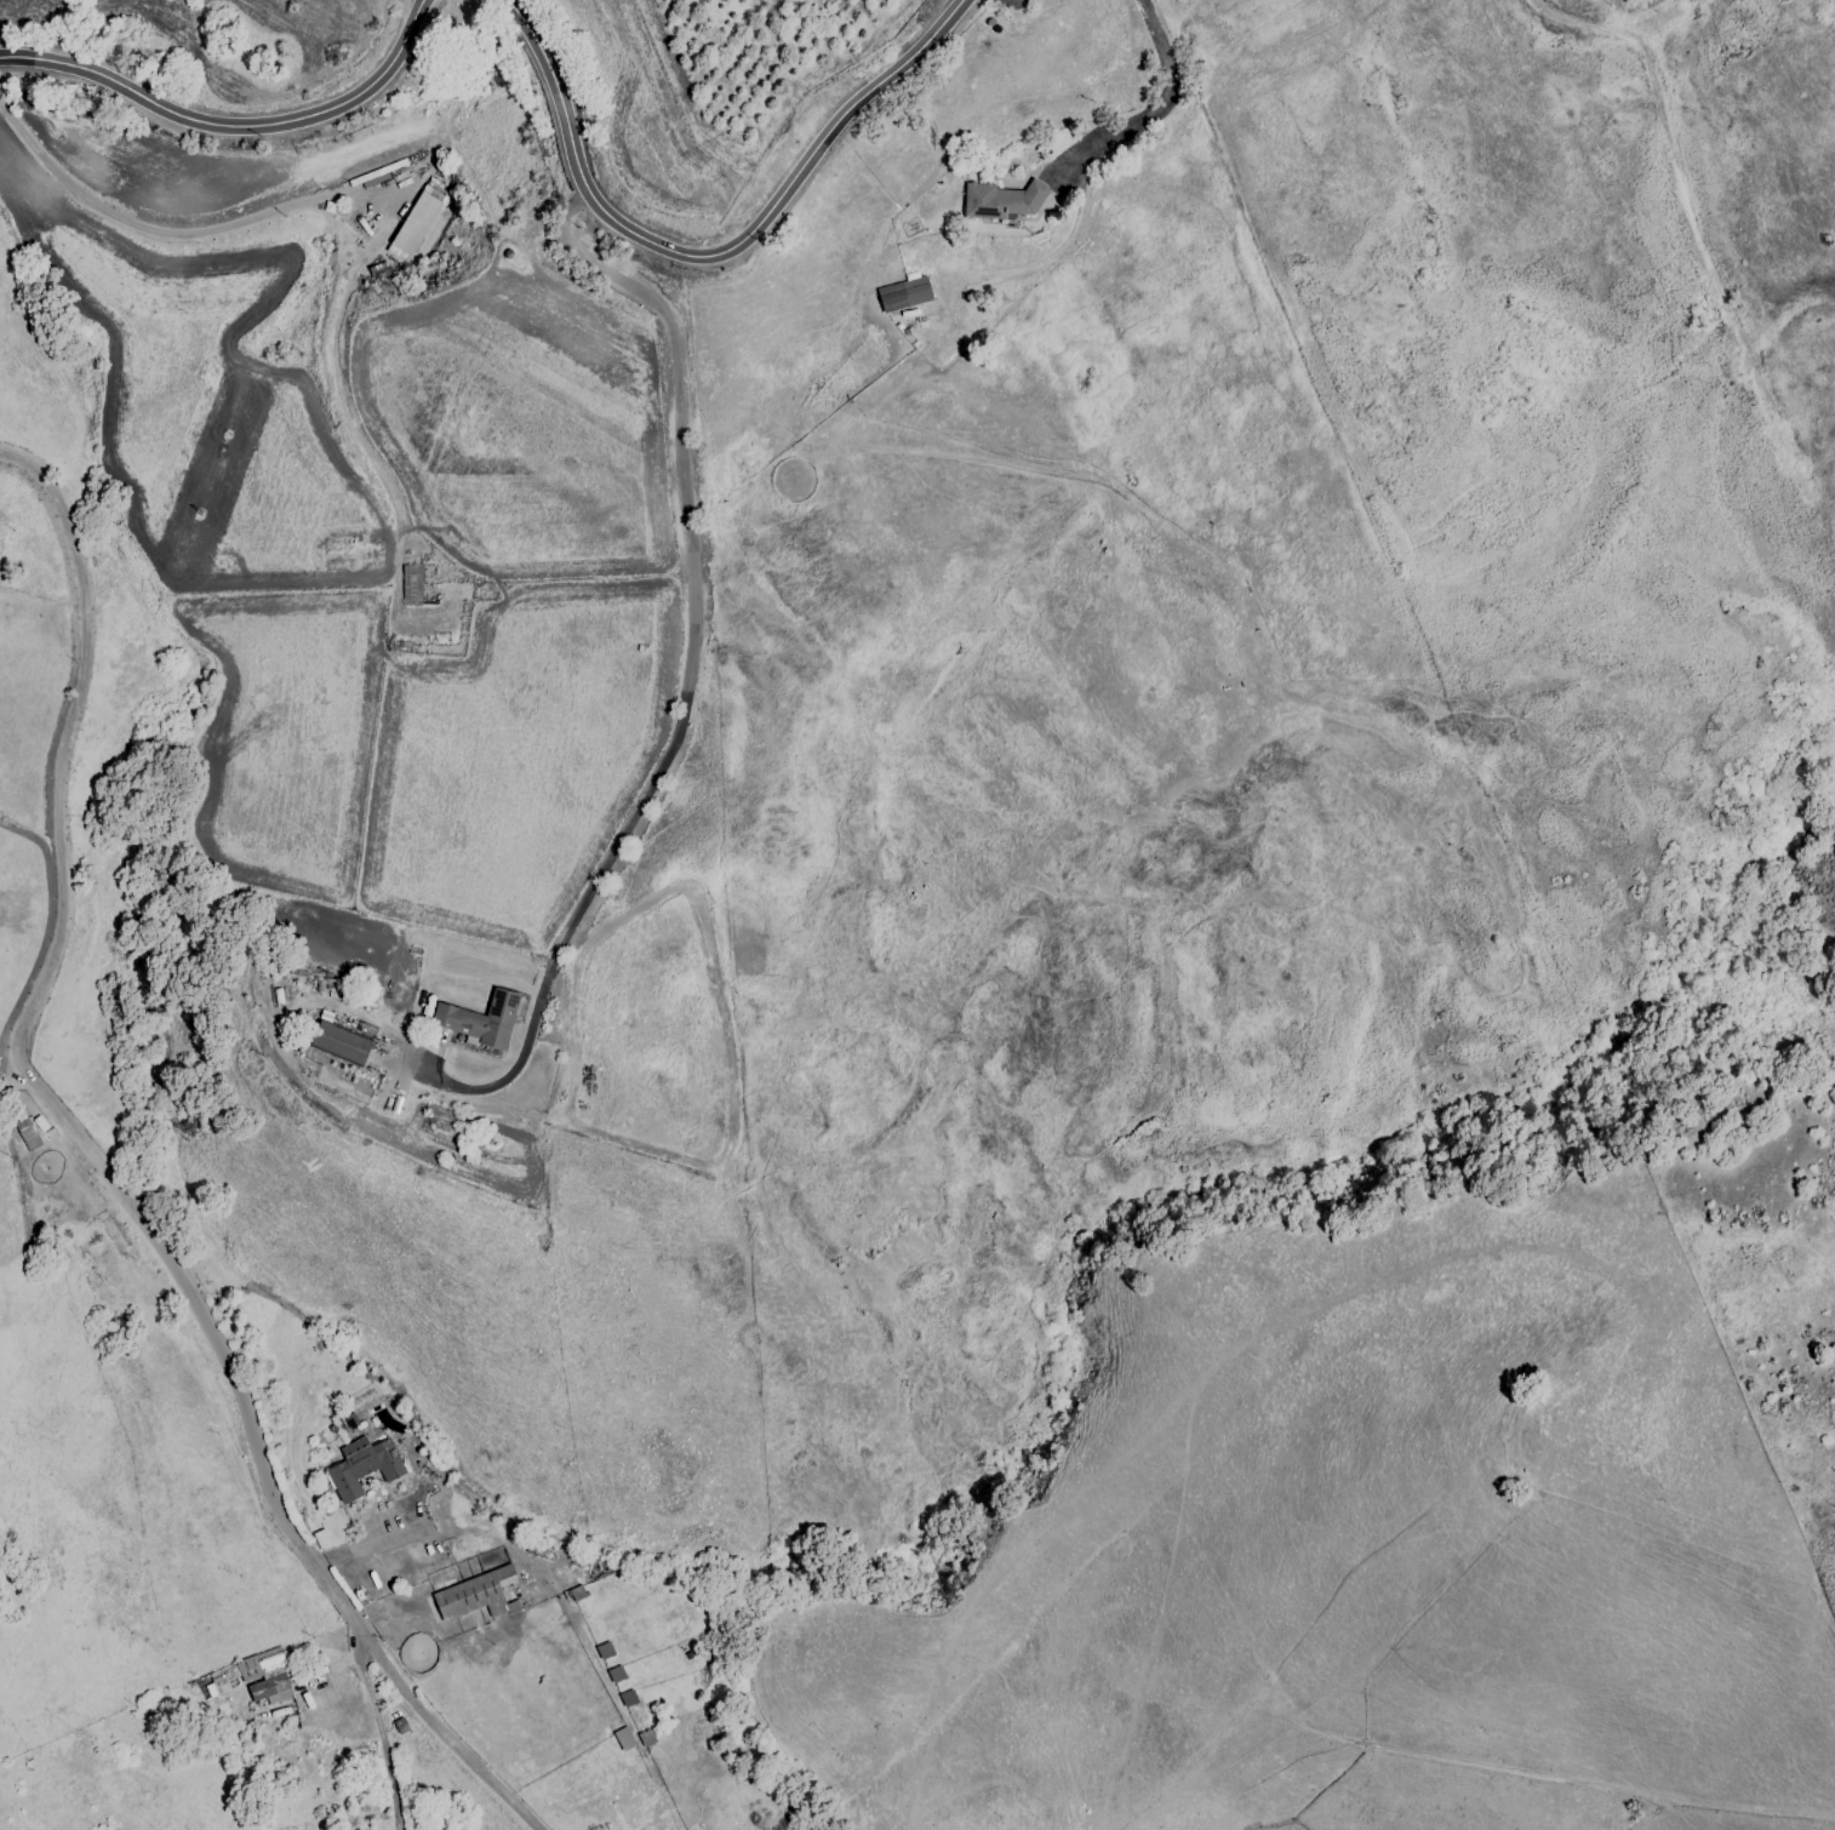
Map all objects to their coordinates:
road: (1153, 110)
road: (234, 122)
building: (999, 201)
road: (338, 204)
building: (416, 221)
road: (716, 253)
building: (903, 294)
building: (410, 584)
road: (687, 673)
building: (478, 1018)
building: (338, 1042)
road: (109, 1165)
building: (361, 1466)
building: (474, 1594)
building: (614, 1674)
building: (264, 1675)
building: (222, 1679)
road: (377, 1726)
building: (623, 1738)

